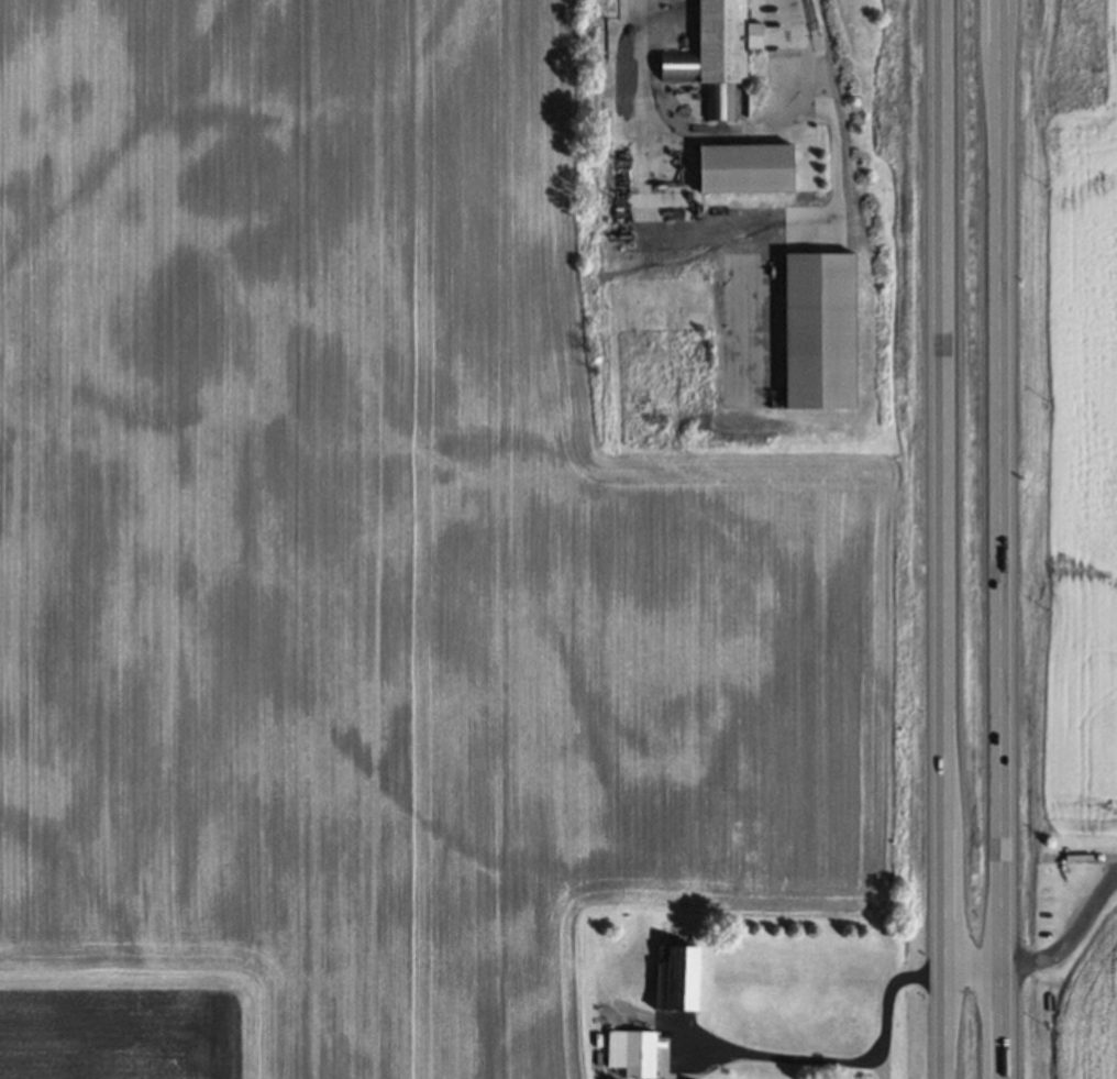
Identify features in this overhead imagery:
building: (712, 55)
road: (640, 106)
building: (740, 167)
building: (815, 330)
road: (944, 539)
road: (999, 539)
road: (1071, 932)
road: (973, 959)
building: (672, 978)
road: (888, 1011)
building: (629, 1053)
road: (790, 1069)

